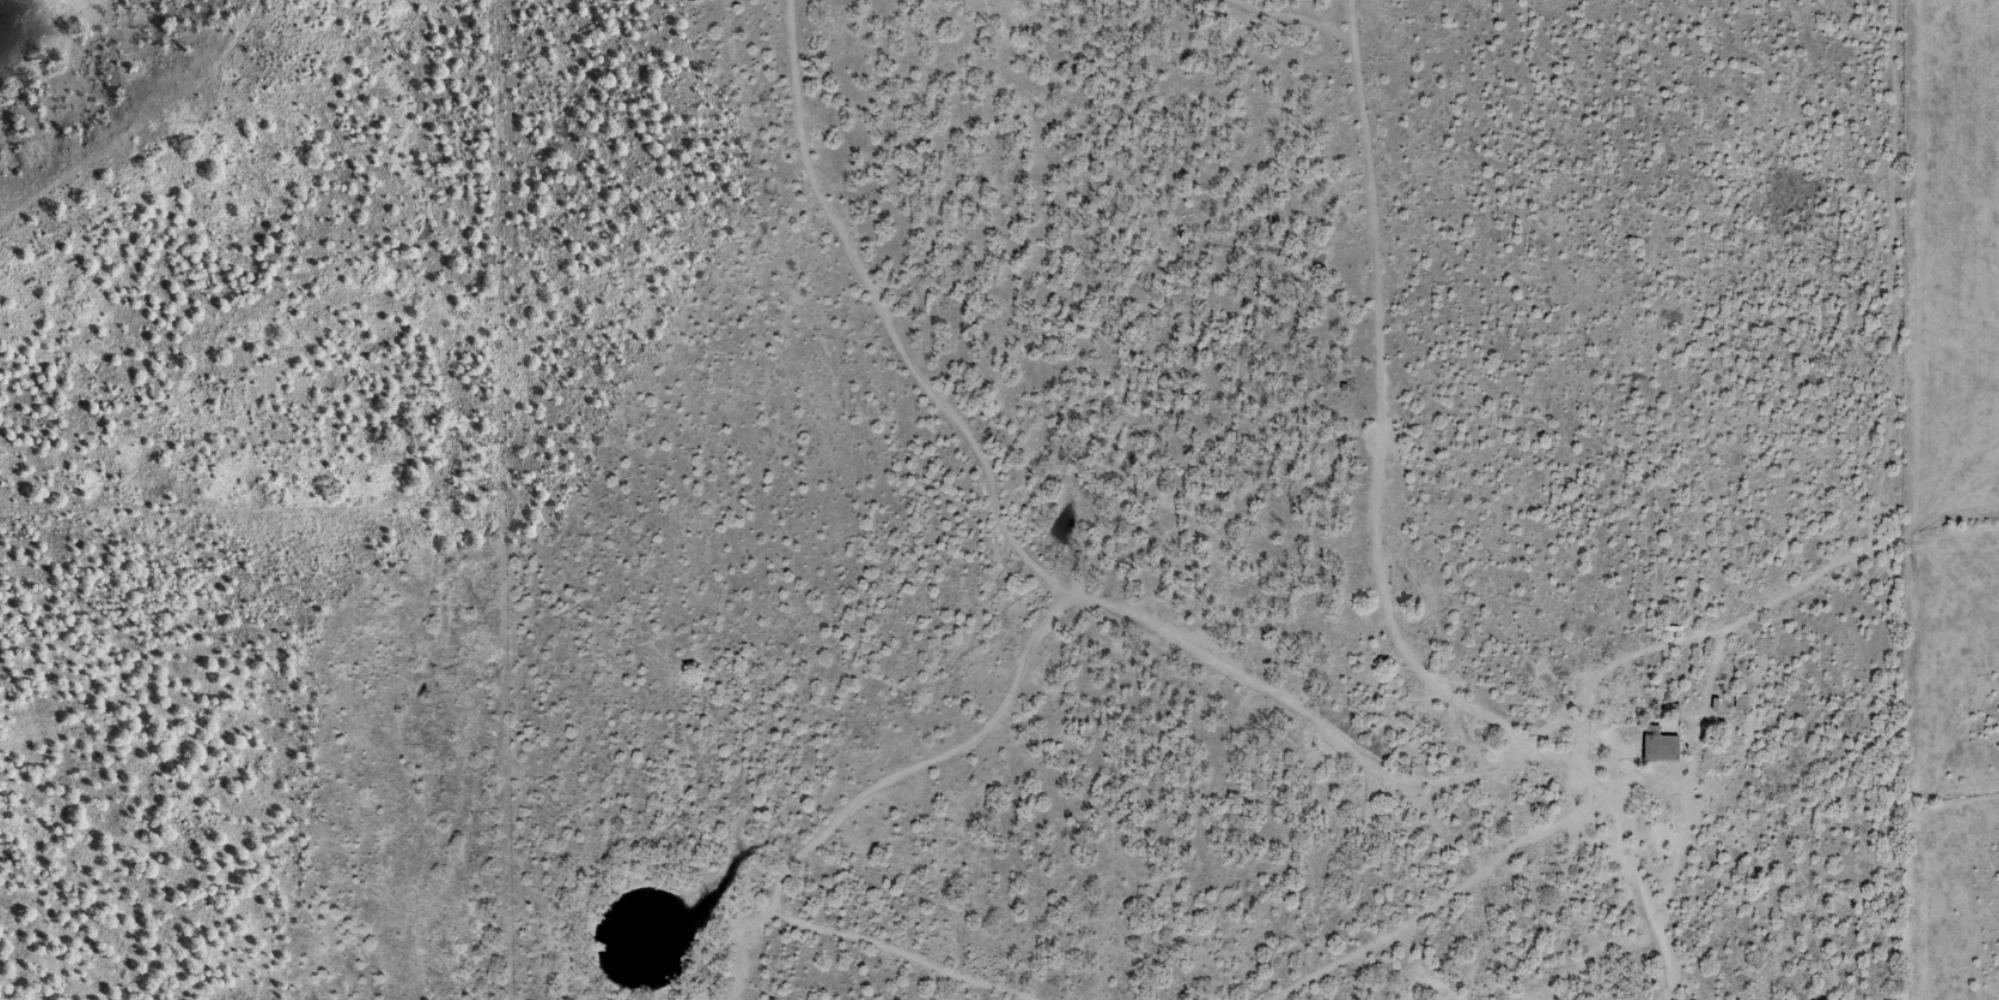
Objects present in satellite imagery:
road: (147, 153)
road: (1146, 631)
building: (1656, 754)

